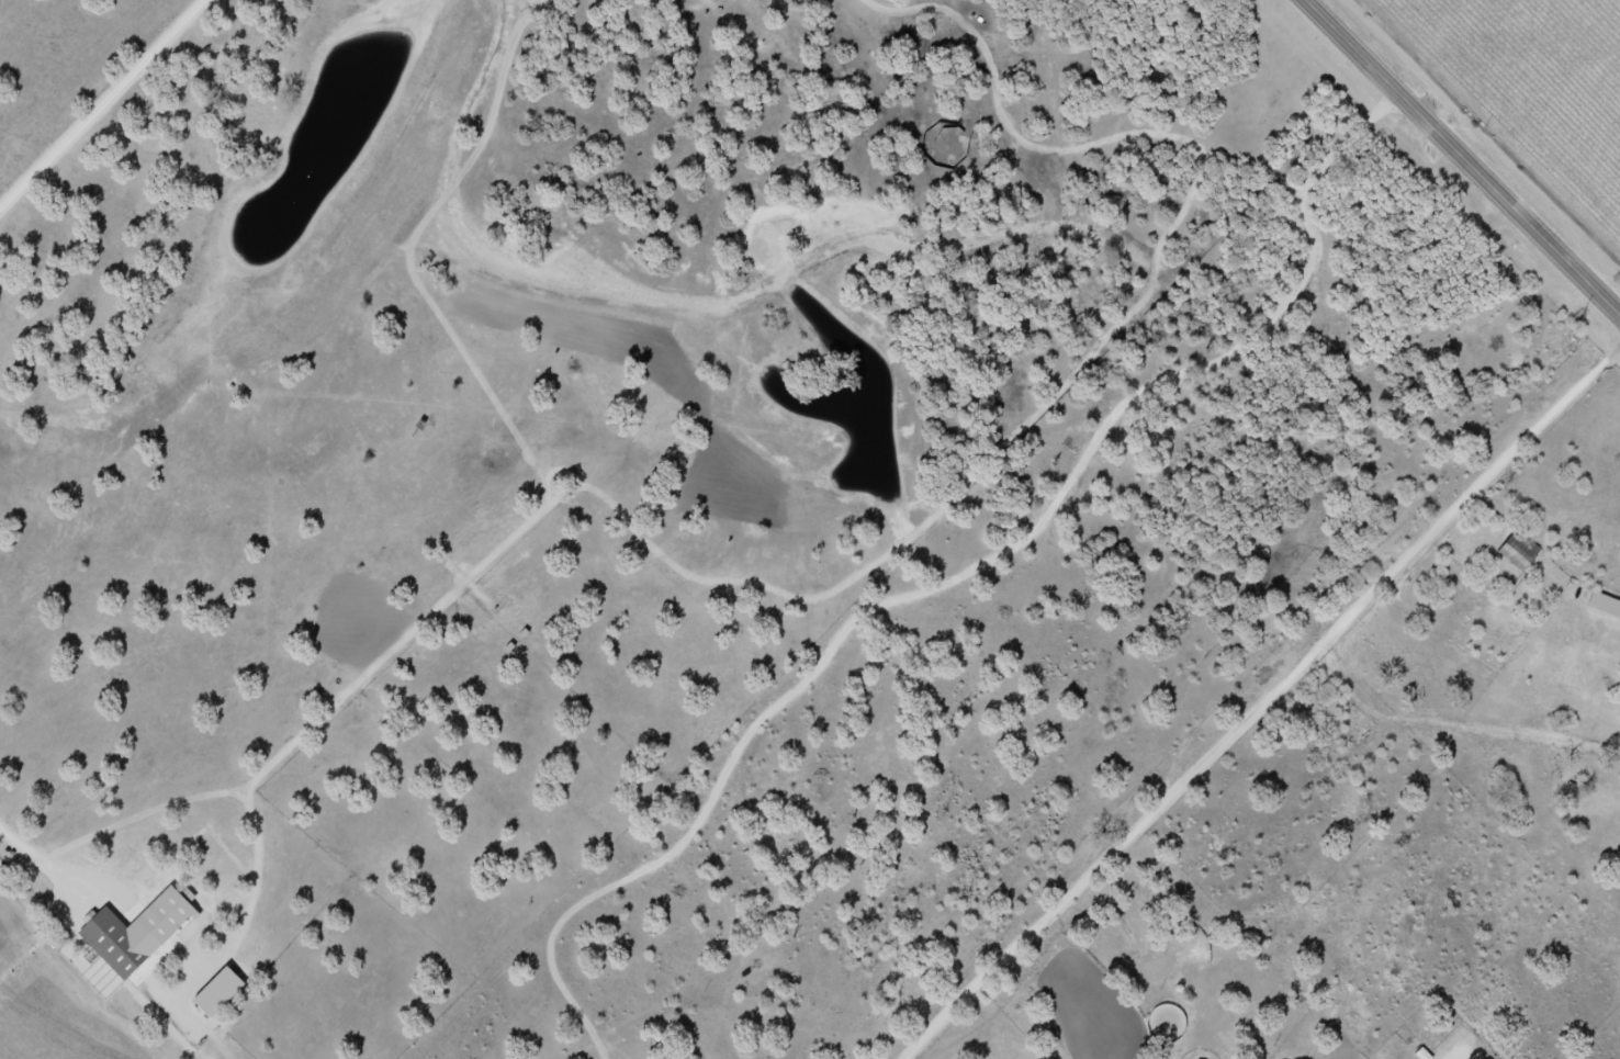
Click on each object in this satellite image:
road: (106, 106)
road: (1465, 155)
building: (1518, 551)
road: (1269, 710)
road: (46, 864)
building: (114, 945)

